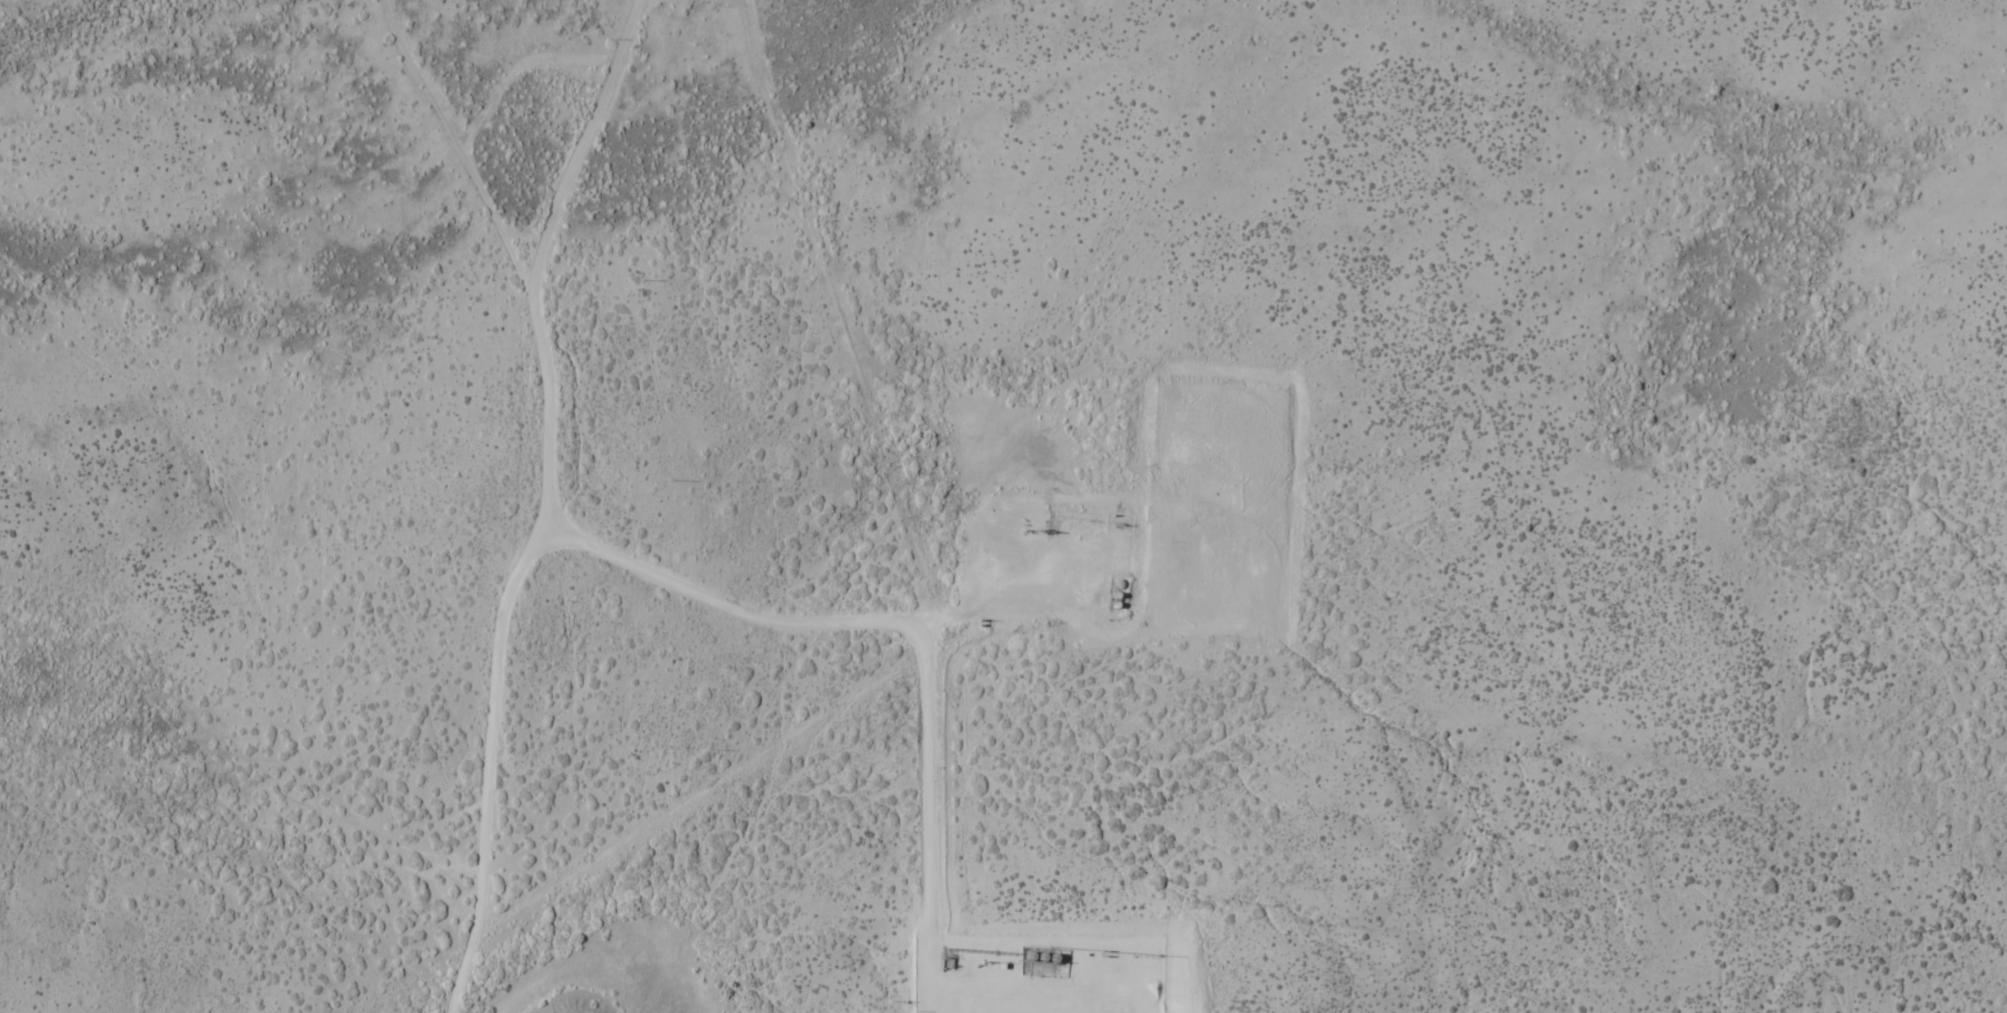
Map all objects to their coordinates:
road: (457, 147)
road: (553, 502)
road: (807, 620)
road: (927, 809)

